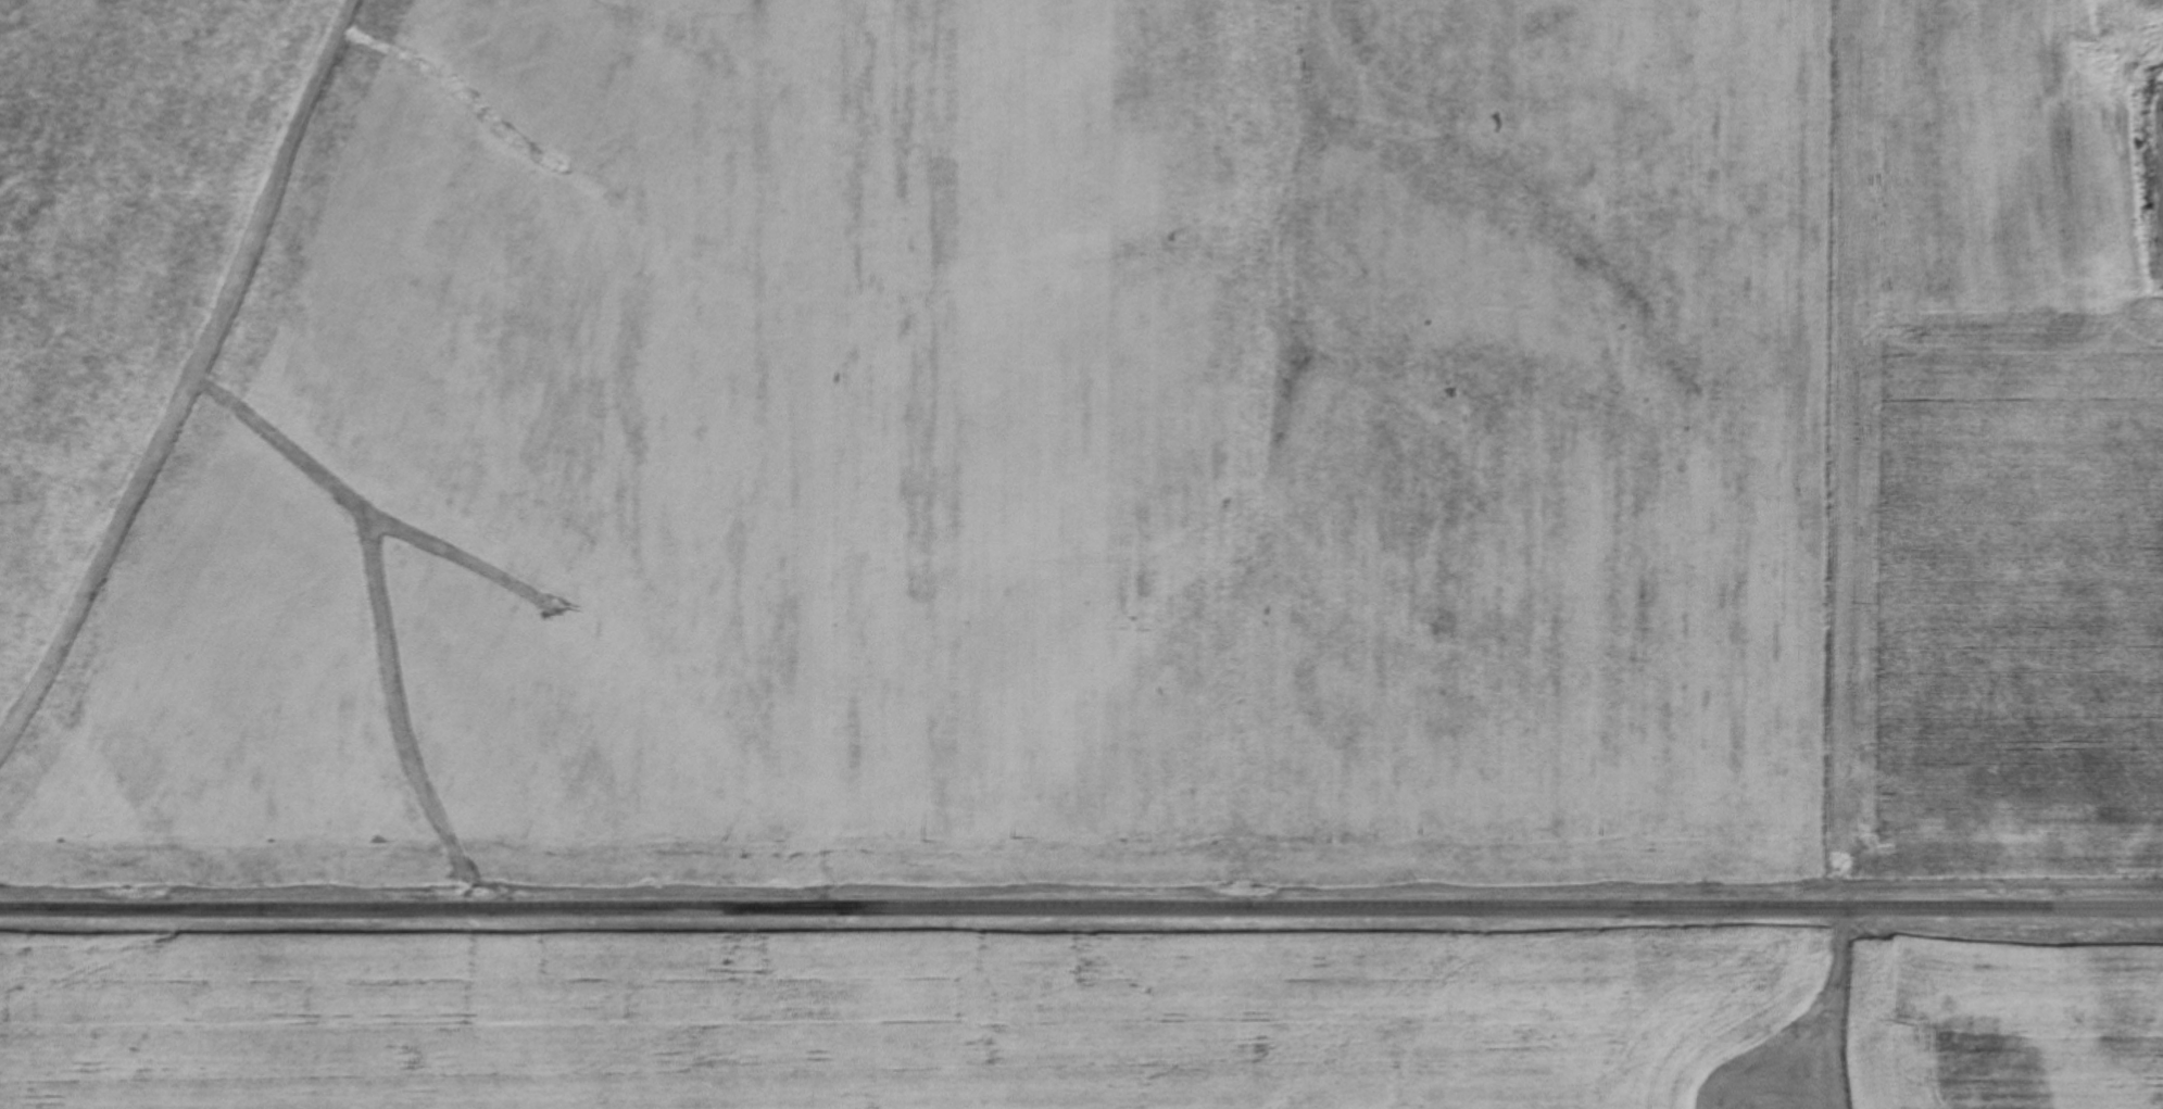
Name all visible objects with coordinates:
road: (1081, 902)

